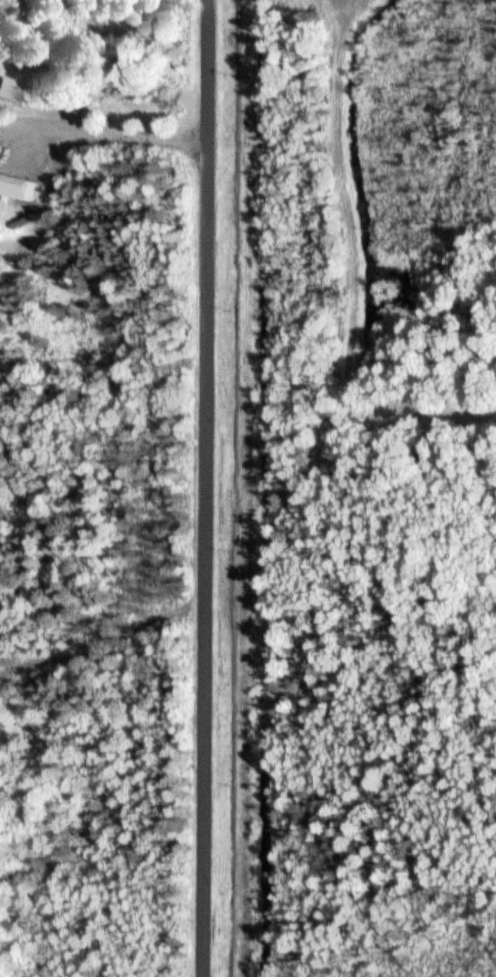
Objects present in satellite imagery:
building: (11, 90)
road: (103, 134)
building: (16, 187)
road: (207, 488)

